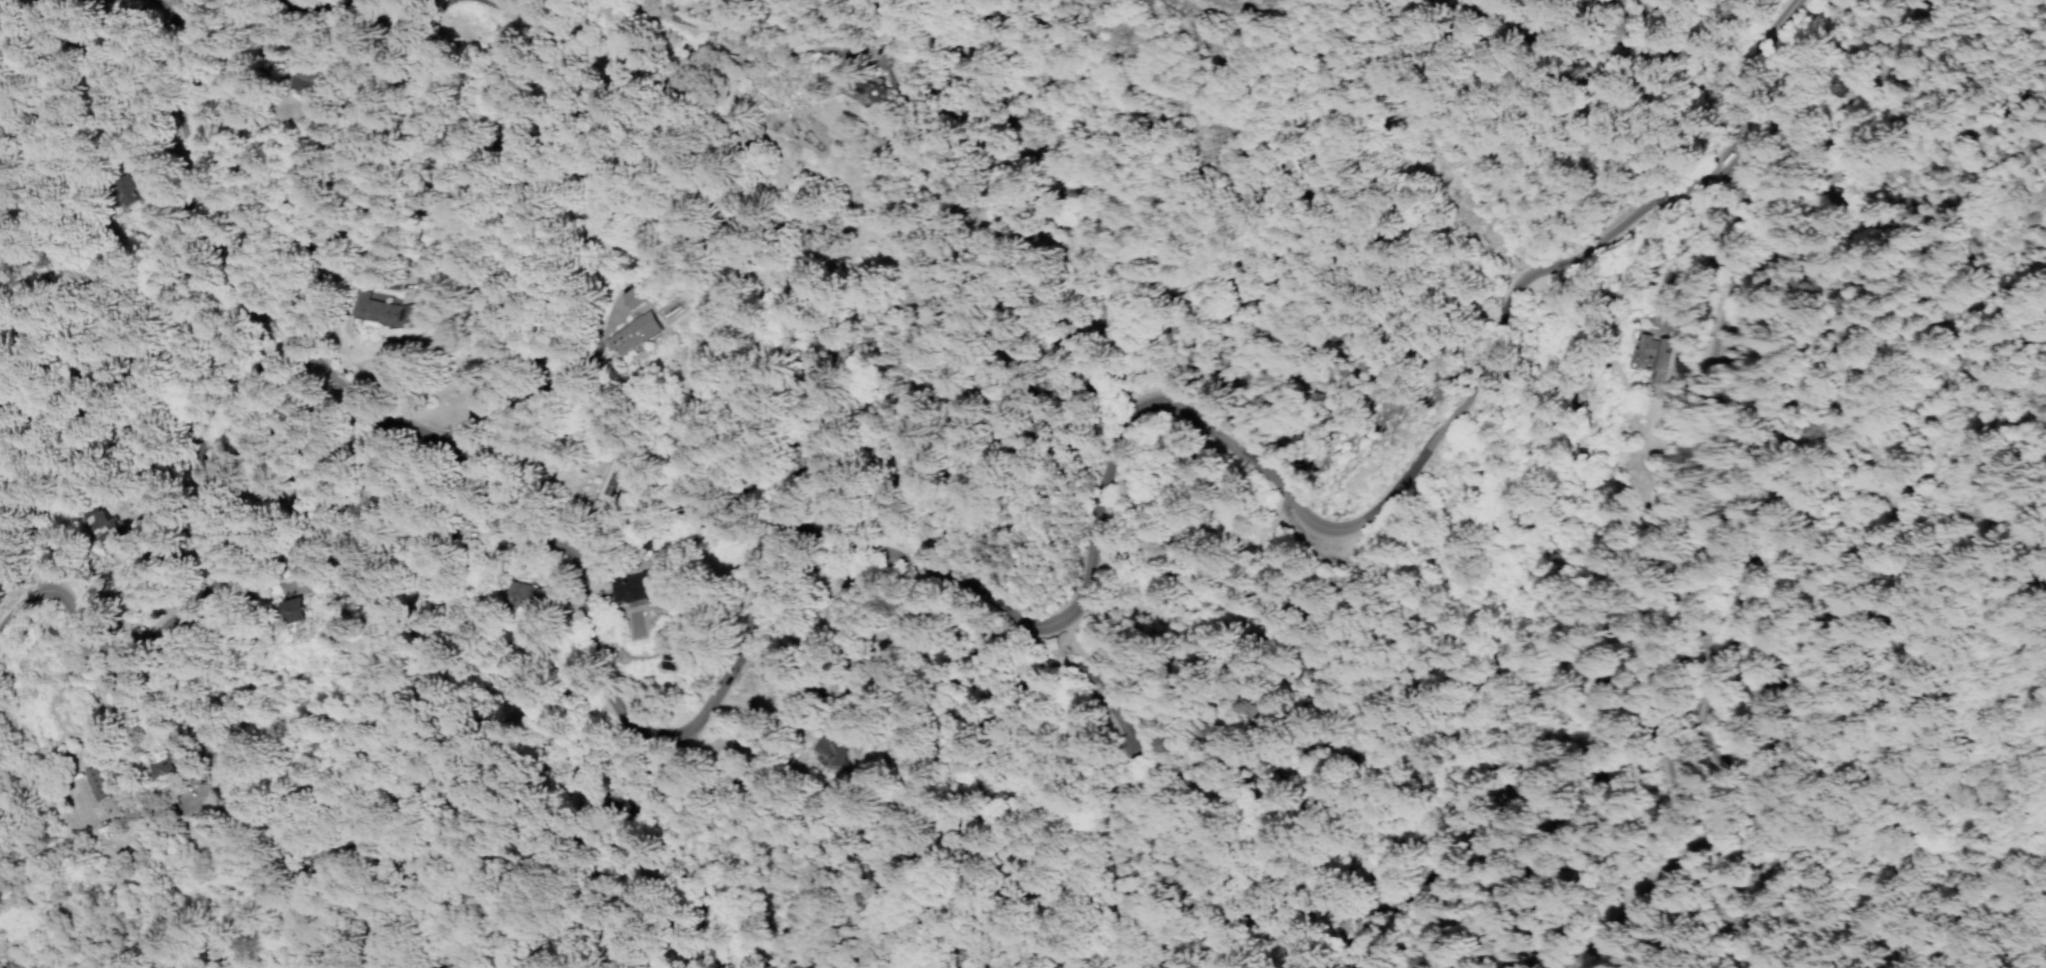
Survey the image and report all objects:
road: (330, 1)
road: (339, 1)
road: (366, 1)
road: (139, 3)
road: (504, 11)
road: (727, 25)
road: (785, 54)
building: (287, 82)
road: (1716, 87)
building: (875, 91)
road: (1700, 148)
building: (1704, 156)
road: (1701, 173)
building: (103, 191)
road: (1728, 205)
building: (122, 210)
road: (226, 223)
road: (1684, 275)
building: (404, 279)
building: (366, 308)
building: (610, 334)
building: (1648, 354)
crop: (1889, 389)
road: (823, 521)
building: (81, 527)
building: (634, 582)
building: (516, 595)
building: (271, 611)
road: (1726, 622)
road: (185, 638)
road: (99, 645)
building: (1093, 676)
building: (1588, 689)
building: (1751, 695)
road: (191, 709)
building: (1123, 739)
building: (820, 749)
building: (166, 762)
building: (1654, 772)
building: (88, 783)
crop: (1328, 872)

